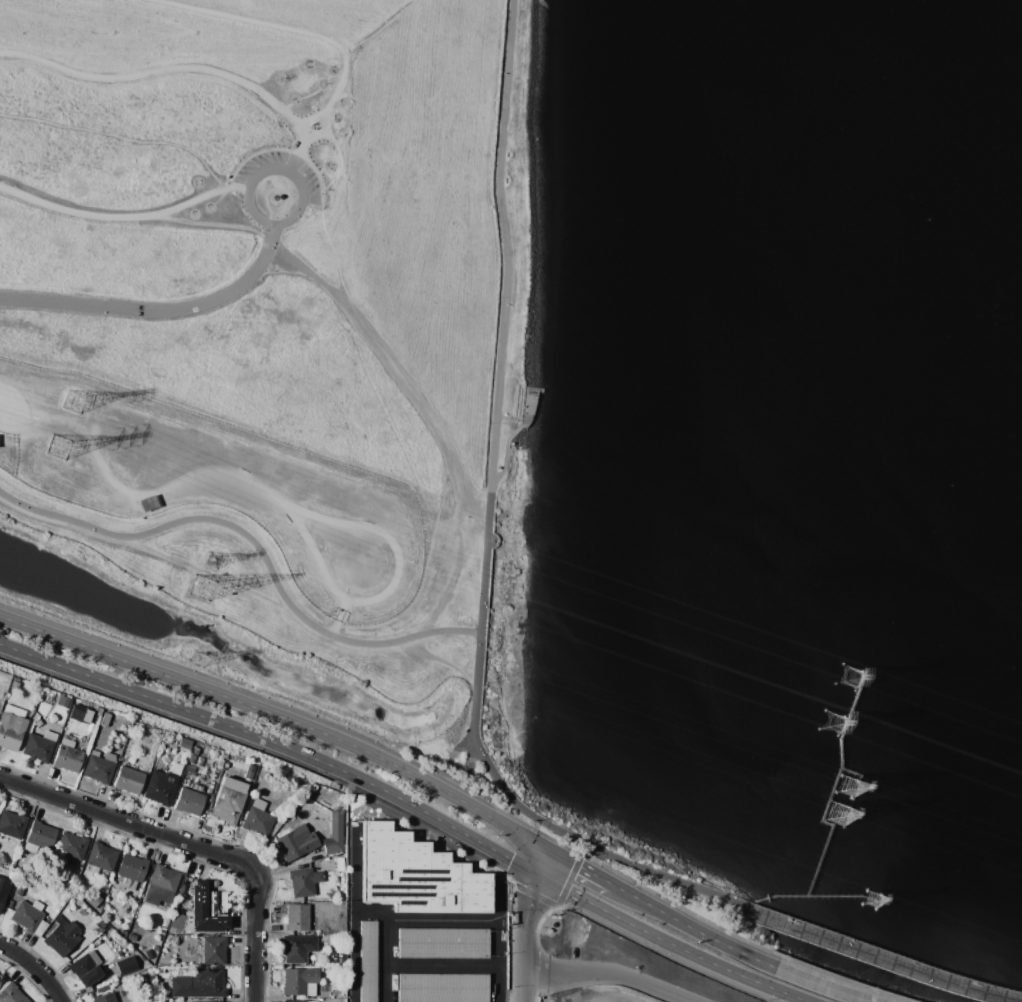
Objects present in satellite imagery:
road: (545, 3)
road: (377, 26)
road: (301, 32)
road: (55, 67)
road: (325, 68)
road: (236, 81)
road: (337, 115)
road: (323, 123)
road: (313, 135)
road: (120, 137)
road: (338, 161)
road: (277, 172)
road: (126, 217)
road: (210, 224)
road: (330, 247)
road: (156, 309)
park: (272, 334)
road: (403, 379)
power tower: (76, 403)
road: (509, 418)
road: (514, 430)
power tower: (62, 452)
road: (485, 536)
road: (256, 547)
power tower: (212, 565)
power tower: (201, 595)
power tower: (201, 661)
power tower: (854, 678)
road: (282, 717)
power tower: (832, 719)
building: (11, 730)
road: (277, 743)
building: (38, 748)
building: (68, 757)
road: (449, 759)
building: (99, 769)
road: (466, 769)
building: (129, 779)
pier: (831, 786)
power tower: (852, 789)
building: (159, 790)
building: (229, 800)
building: (189, 801)
power tower: (843, 817)
building: (258, 818)
building: (12, 824)
building: (334, 833)
building: (39, 837)
road: (557, 841)
building: (297, 842)
road: (188, 843)
building: (71, 846)
building: (101, 857)
building: (132, 868)
road: (585, 868)
building: (416, 875)
road: (570, 881)
building: (304, 882)
building: (161, 885)
road: (516, 886)
building: (3, 889)
pier: (802, 895)
road: (539, 897)
building: (92, 900)
power tower: (876, 903)
road: (681, 905)
building: (208, 909)
building: (26, 916)
building: (297, 918)
road: (440, 919)
building: (175, 922)
road: (526, 923)
road: (697, 930)
road: (513, 936)
building: (62, 937)
road: (632, 940)
road: (671, 942)
building: (442, 943)
building: (298, 948)
building: (214, 950)
road: (880, 959)
building: (367, 962)
road: (440, 965)
building: (126, 966)
road: (36, 967)
building: (86, 968)
road: (611, 973)
road: (847, 980)
building: (300, 981)
building: (199, 984)
road: (823, 985)
road: (535, 986)
building: (442, 988)
building: (12, 994)
building: (104, 998)
road: (511, 1000)
building: (207, 1001)
building: (295, 1001)

